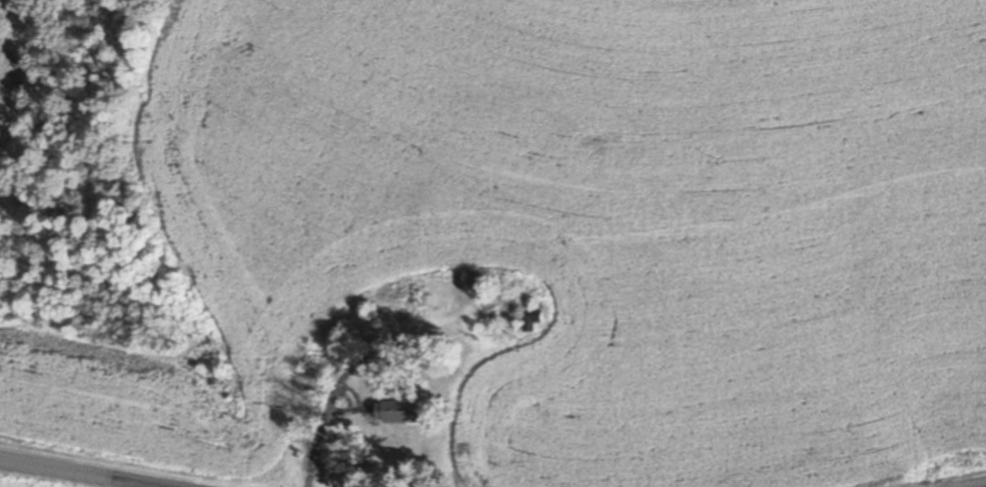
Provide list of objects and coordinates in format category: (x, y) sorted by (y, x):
building: (476, 287)
building: (531, 320)
building: (398, 412)
road: (168, 459)

